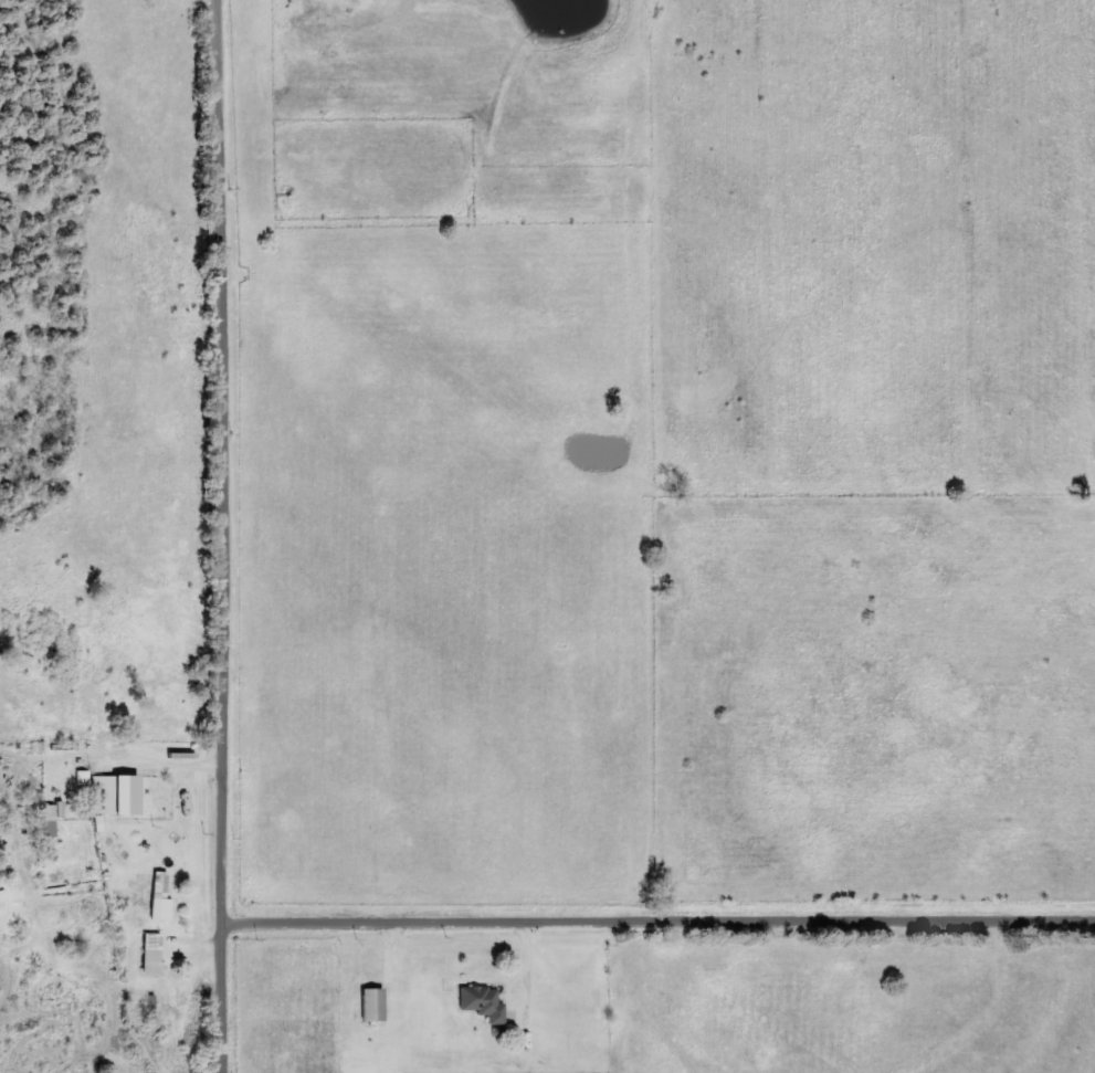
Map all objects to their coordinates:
road: (230, 251)
road: (159, 508)
building: (85, 777)
road: (230, 787)
building: (122, 793)
building: (54, 817)
building: (147, 887)
building: (164, 908)
road: (662, 918)
building: (155, 954)
building: (485, 1002)
building: (377, 1004)

